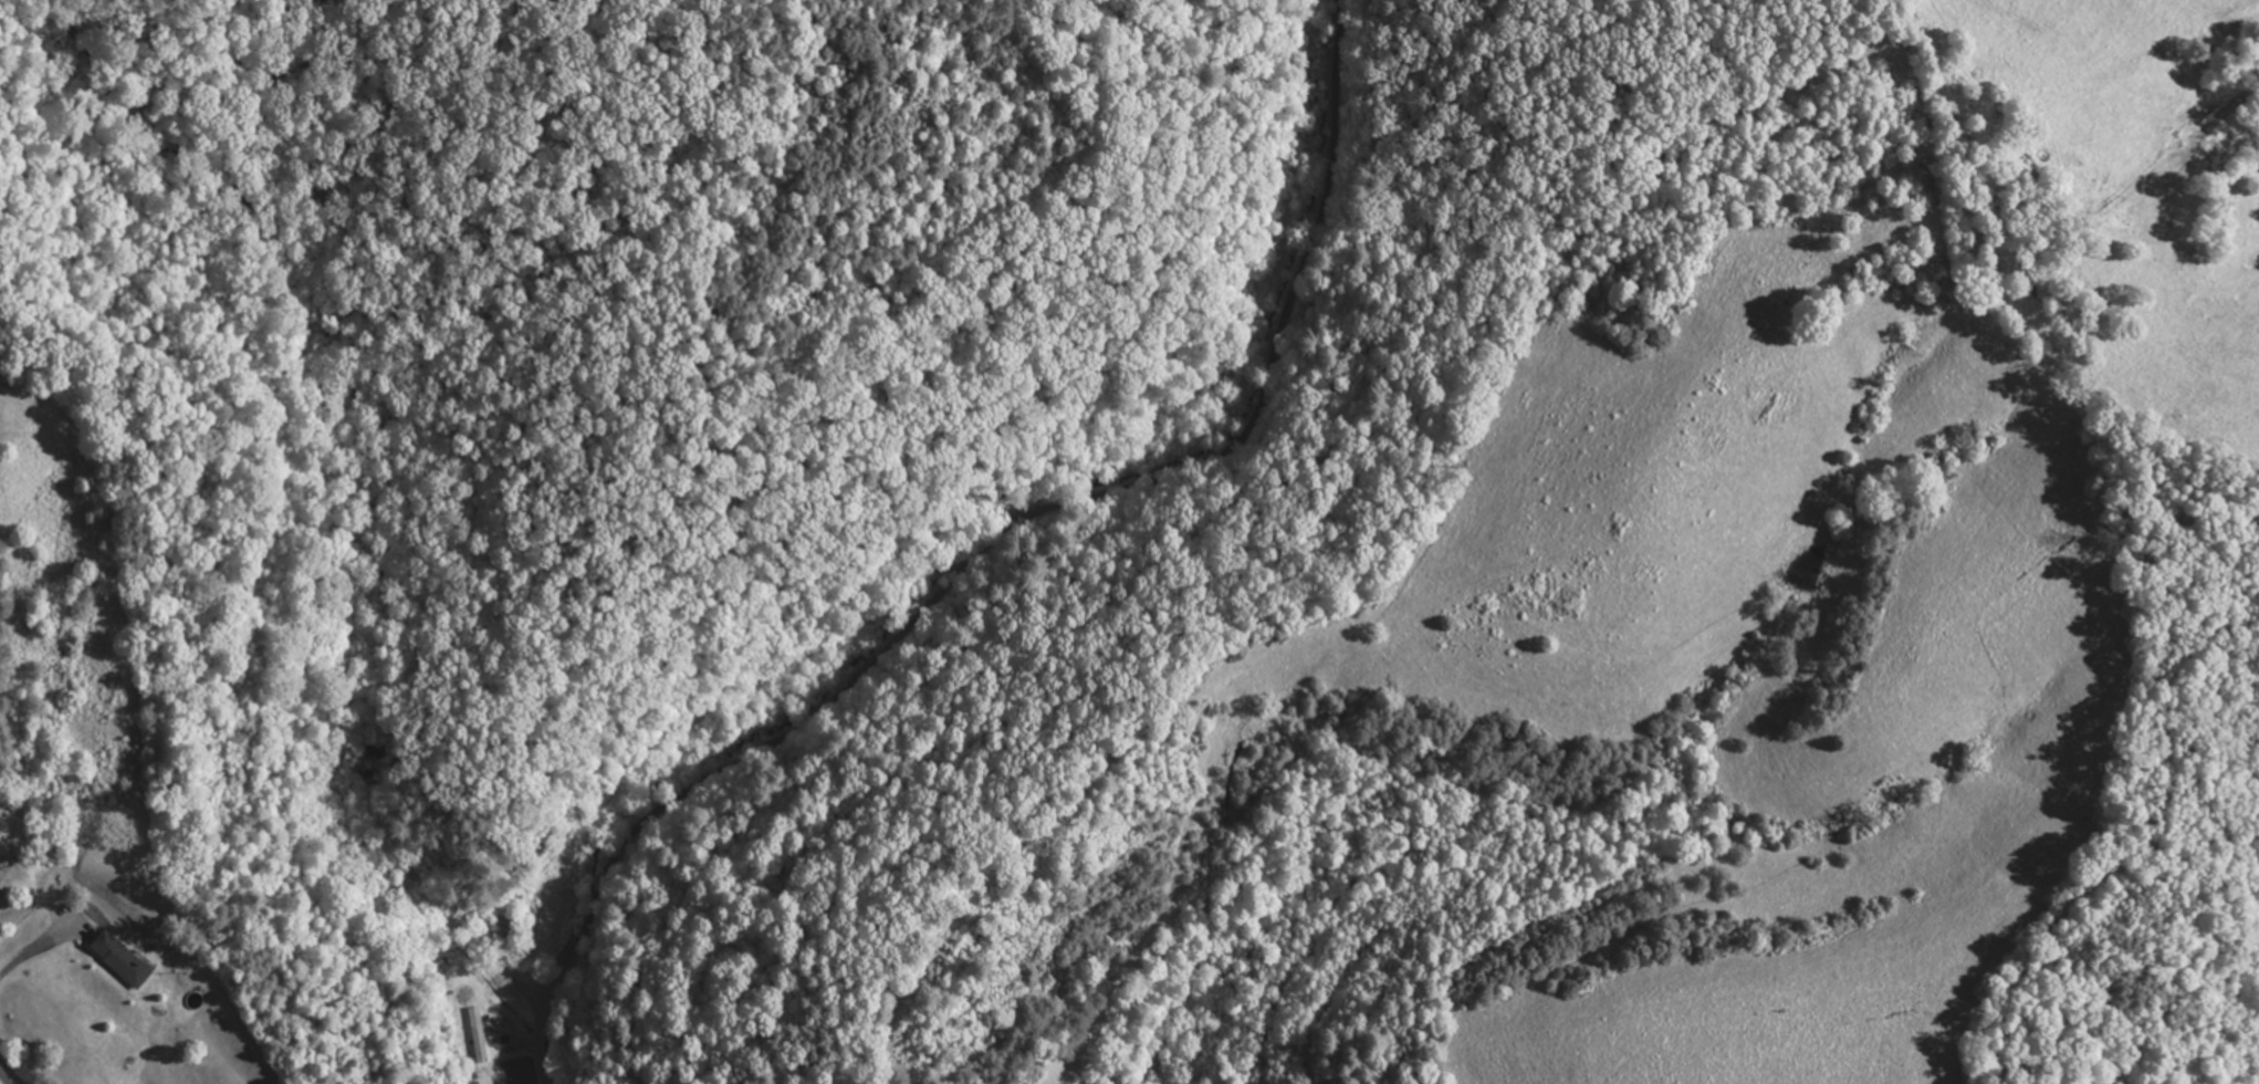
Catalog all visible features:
road: (997, 553)
building: (499, 929)
building: (118, 961)
building: (480, 1035)
road: (9, 1073)

